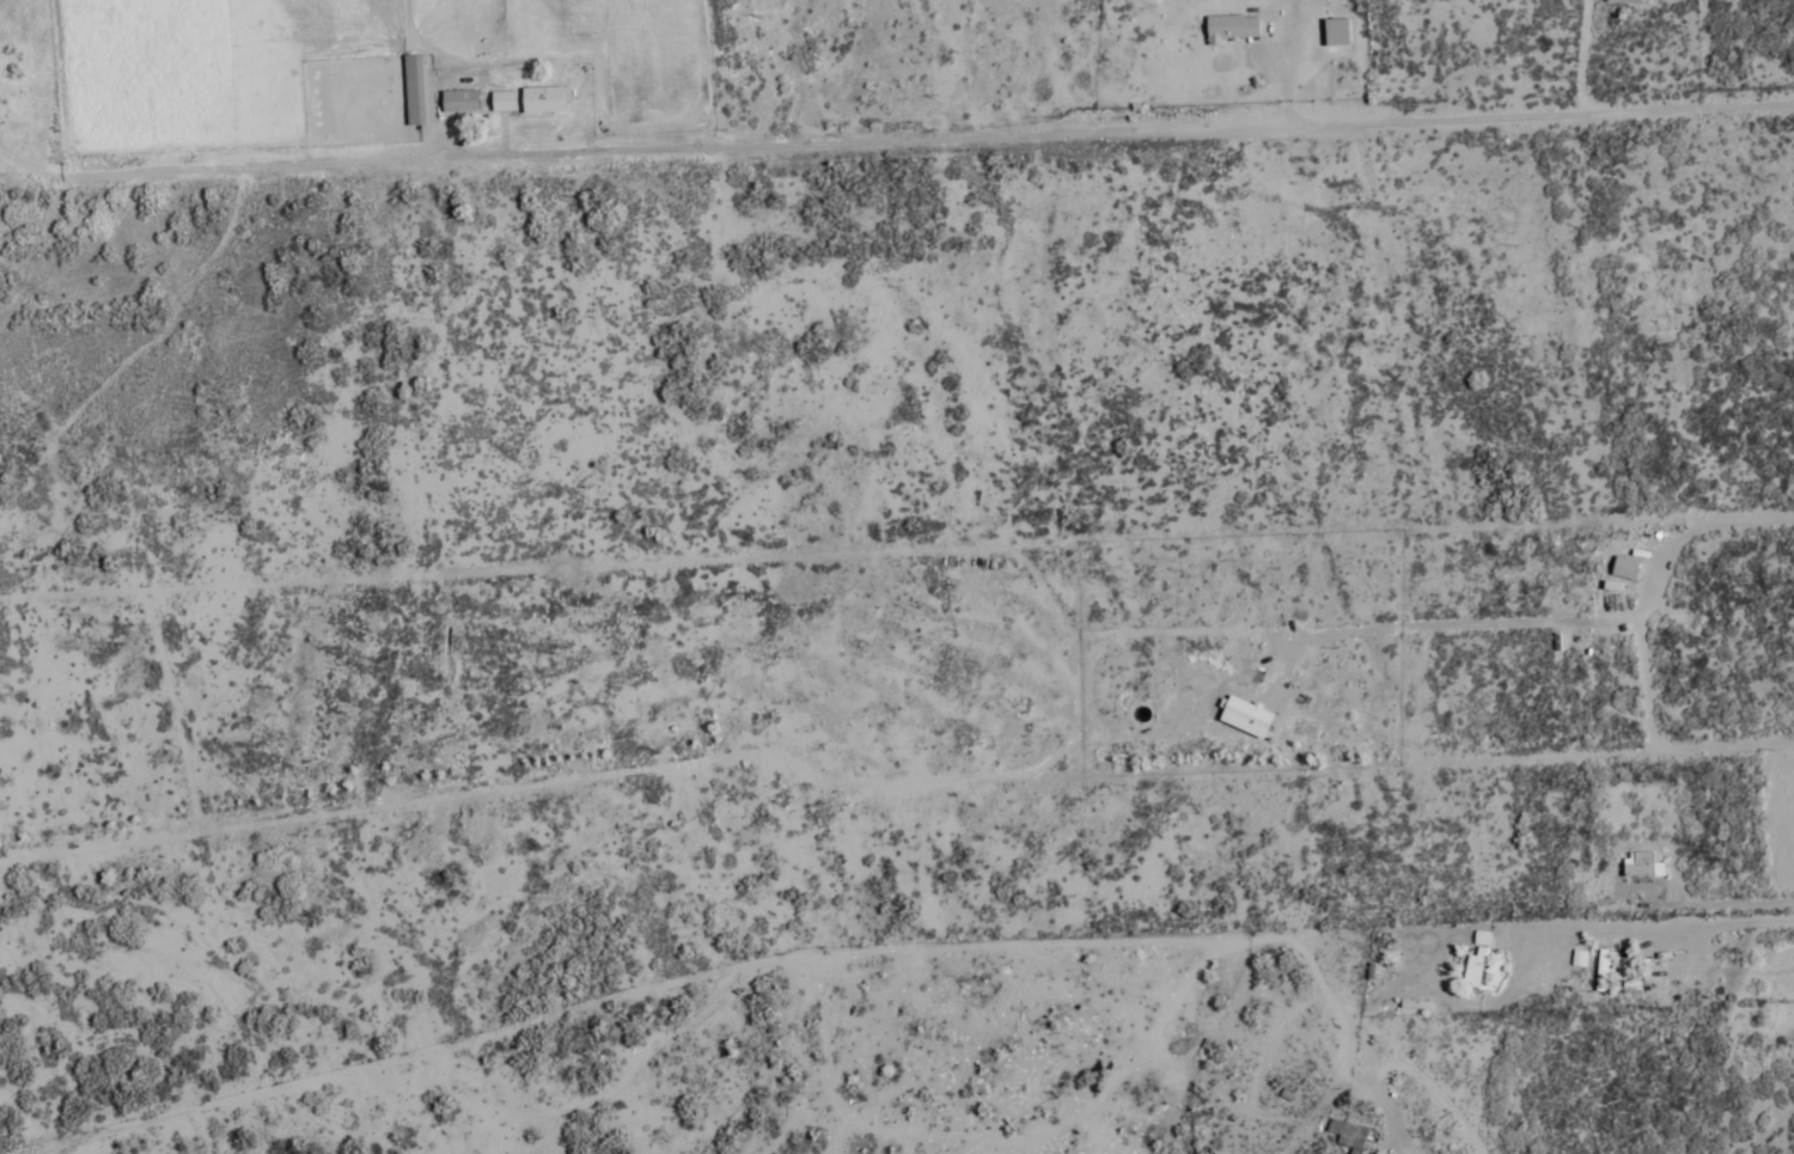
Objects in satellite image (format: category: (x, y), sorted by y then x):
building: (1628, 2)
building: (1232, 31)
building: (414, 91)
building: (527, 102)
building: (459, 103)
building: (1624, 569)
road: (897, 665)
building: (1641, 866)
building: (1476, 961)
building: (1603, 972)
building: (1353, 1138)

